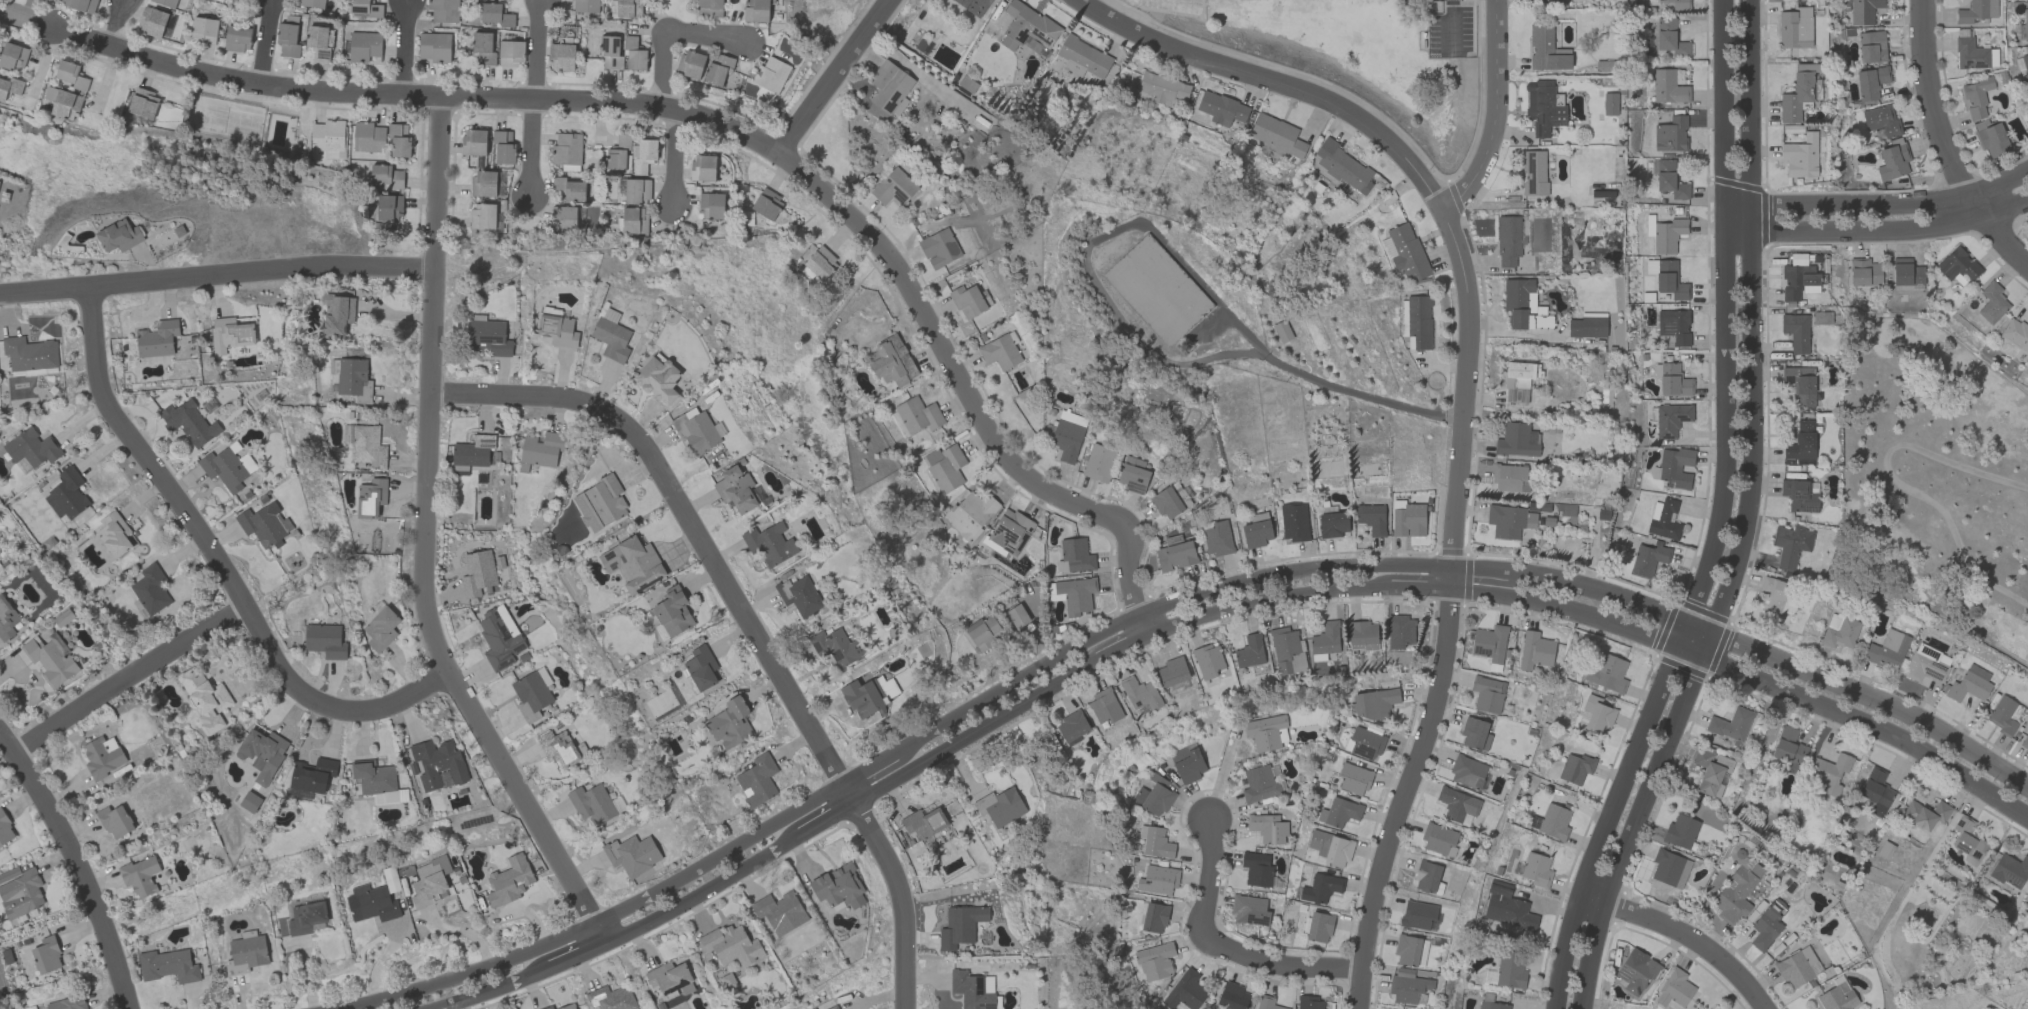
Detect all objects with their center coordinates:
building: (165, 2)
building: (311, 3)
building: (80, 4)
building: (1676, 4)
building: (585, 5)
building: (974, 5)
building: (628, 8)
building: (709, 8)
road: (28, 9)
building: (364, 9)
building: (444, 10)
building: (756, 10)
building: (1863, 11)
building: (1972, 12)
road: (15, 15)
building: (495, 15)
road: (1452, 20)
building: (152, 21)
road: (115, 22)
building: (2025, 23)
building: (1024, 26)
building: (1795, 28)
building: (204, 30)
road: (665, 32)
building: (237, 38)
building: (1670, 38)
building: (287, 39)
road: (266, 42)
building: (317, 42)
building: (364, 46)
building: (434, 46)
road: (405, 47)
building: (483, 47)
building: (1871, 47)
building: (1545, 49)
road: (534, 51)
building: (511, 52)
building: (610, 53)
building: (633, 54)
building: (1970, 54)
building: (12, 56)
building: (561, 56)
building: (1083, 58)
building: (690, 64)
building: (2026, 68)
building: (718, 69)
building: (69, 74)
building: (771, 74)
road: (836, 78)
road: (1279, 82)
building: (1870, 83)
building: (966, 84)
building: (10, 87)
building: (890, 87)
building: (1669, 87)
building: (1162, 88)
building: (2027, 93)
building: (1976, 97)
building: (1795, 98)
building: (143, 103)
building: (1609, 103)
building: (66, 104)
building: (1542, 107)
building: (1221, 108)
road: (1492, 110)
park: (224, 119)
building: (1880, 120)
road: (729, 128)
building: (1276, 134)
building: (326, 135)
building: (1671, 135)
building: (368, 137)
building: (398, 139)
building: (473, 142)
building: (503, 146)
road: (1944, 146)
building: (566, 149)
road: (530, 150)
building: (631, 154)
building: (1800, 156)
road: (671, 158)
building: (1894, 159)
building: (702, 167)
building: (1343, 167)
building: (1533, 173)
building: (386, 176)
building: (1669, 180)
building: (484, 183)
building: (893, 187)
building: (569, 189)
building: (636, 191)
building: (766, 204)
road: (1878, 204)
building: (711, 205)
building: (388, 207)
building: (482, 215)
building: (562, 218)
building: (633, 220)
building: (1648, 224)
road: (1877, 232)
building: (118, 235)
building: (1667, 235)
building: (1508, 240)
building: (939, 248)
building: (1404, 252)
building: (820, 262)
building: (1957, 265)
road: (217, 271)
building: (1864, 273)
building: (1906, 273)
building: (1670, 280)
building: (967, 301)
building: (1992, 303)
building: (1523, 305)
building: (337, 313)
building: (610, 315)
building: (1415, 322)
building: (1586, 327)
building: (1673, 327)
building: (559, 330)
building: (1282, 331)
building: (1796, 332)
building: (2015, 333)
building: (230, 334)
building: (488, 337)
building: (157, 338)
building: (611, 339)
building: (999, 352)
building: (29, 353)
building: (891, 363)
building: (352, 378)
building: (658, 380)
building: (1519, 380)
building: (1672, 381)
building: (1800, 384)
road: (428, 388)
road: (1340, 389)
building: (918, 415)
building: (1671, 419)
building: (190, 422)
building: (696, 431)
building: (1066, 439)
building: (1516, 440)
building: (1801, 441)
building: (367, 446)
building: (31, 448)
building: (543, 449)
building: (472, 451)
building: (1098, 462)
building: (945, 467)
building: (1674, 467)
building: (223, 469)
building: (1510, 478)
park: (1933, 478)
building: (735, 489)
building: (67, 494)
building: (1798, 496)
building: (371, 497)
building: (600, 503)
building: (1166, 503)
building: (1566, 507)
building: (971, 514)
track: (1972, 514)
building: (1371, 518)
road: (1718, 518)
road: (1743, 518)
building: (1408, 520)
building: (1294, 521)
building: (1508, 521)
building: (1665, 521)
building: (264, 524)
building: (1333, 524)
building: (1010, 531)
building: (114, 533)
building: (1256, 533)
building: (1217, 538)
building: (770, 543)
building: (1790, 545)
building: (1175, 553)
building: (1075, 555)
building: (1648, 559)
road: (214, 562)
building: (632, 563)
building: (477, 573)
building: (150, 589)
building: (1075, 594)
building: (799, 595)
building: (1777, 595)
road: (1166, 606)
building: (672, 612)
road: (1448, 614)
road: (1212, 615)
building: (1017, 616)
building: (6, 619)
road: (743, 620)
building: (380, 628)
building: (1399, 631)
building: (1839, 631)
building: (983, 633)
building: (1362, 635)
building: (499, 638)
building: (1326, 638)
building: (325, 640)
building: (1489, 643)
building: (836, 646)
building: (1287, 650)
building: (1535, 650)
building: (1887, 650)
building: (1249, 651)
building: (51, 658)
building: (1208, 660)
building: (1925, 665)
building: (701, 668)
building: (1172, 671)
building: (1607, 673)
road: (127, 681)
building: (1969, 684)
building: (1140, 693)
building: (530, 694)
building: (869, 694)
building: (1487, 694)
building: (204, 699)
building: (1373, 703)
building: (1104, 706)
building: (1597, 715)
building: (2002, 716)
building: (729, 723)
building: (1071, 725)
building: (1730, 725)
building: (1264, 732)
building: (1475, 734)
building: (2025, 741)
building: (1364, 743)
building: (1789, 746)
building: (558, 747)
building: (262, 753)
building: (102, 756)
building: (437, 763)
building: (1187, 763)
building: (1575, 768)
building: (1791, 768)
building: (1467, 772)
building: (1711, 772)
road: (1220, 773)
building: (1830, 773)
building: (312, 774)
building: (373, 776)
building: (1353, 778)
building: (757, 780)
building: (1259, 784)
building: (1876, 790)
building: (1157, 796)
building: (388, 797)
building: (249, 801)
building: (591, 804)
building: (1457, 804)
building: (1000, 806)
road: (526, 809)
building: (1339, 812)
building: (1925, 814)
building: (115, 820)
building: (924, 822)
building: (1551, 822)
building: (1267, 828)
building: (5, 830)
building: (1680, 831)
building: (1437, 838)
building: (1968, 841)
building: (1155, 842)
building: (1330, 848)
building: (632, 854)
road: (75, 868)
building: (1257, 868)
building: (1669, 868)
building: (1536, 870)
building: (2010, 870)
building: (140, 875)
building: (1426, 876)
building: (1158, 879)
building: (509, 880)
building: (429, 881)
building: (839, 886)
building: (1321, 888)
building: (1735, 895)
building: (371, 903)
building: (1507, 908)
building: (1249, 910)
building: (779, 912)
building: (1418, 915)
building: (305, 917)
building: (1154, 917)
building: (1766, 925)
building: (960, 926)
building: (1319, 926)
road: (1680, 937)
road: (1219, 943)
building: (731, 945)
building: (1410, 950)
building: (245, 954)
building: (46, 955)
building: (1154, 961)
building: (167, 965)
building: (1797, 966)
building: (1635, 971)
building: (1510, 972)
building: (669, 978)
building: (1406, 986)
building: (973, 989)
building: (1674, 990)
building: (1186, 991)
building: (1232, 996)
building: (1836, 997)
building: (610, 998)
building: (67, 1003)
building: (1267, 1003)
building: (1310, 1004)
building: (1492, 1005)
building: (567, 1006)
building: (547, 1007)
building: (832, 1007)

